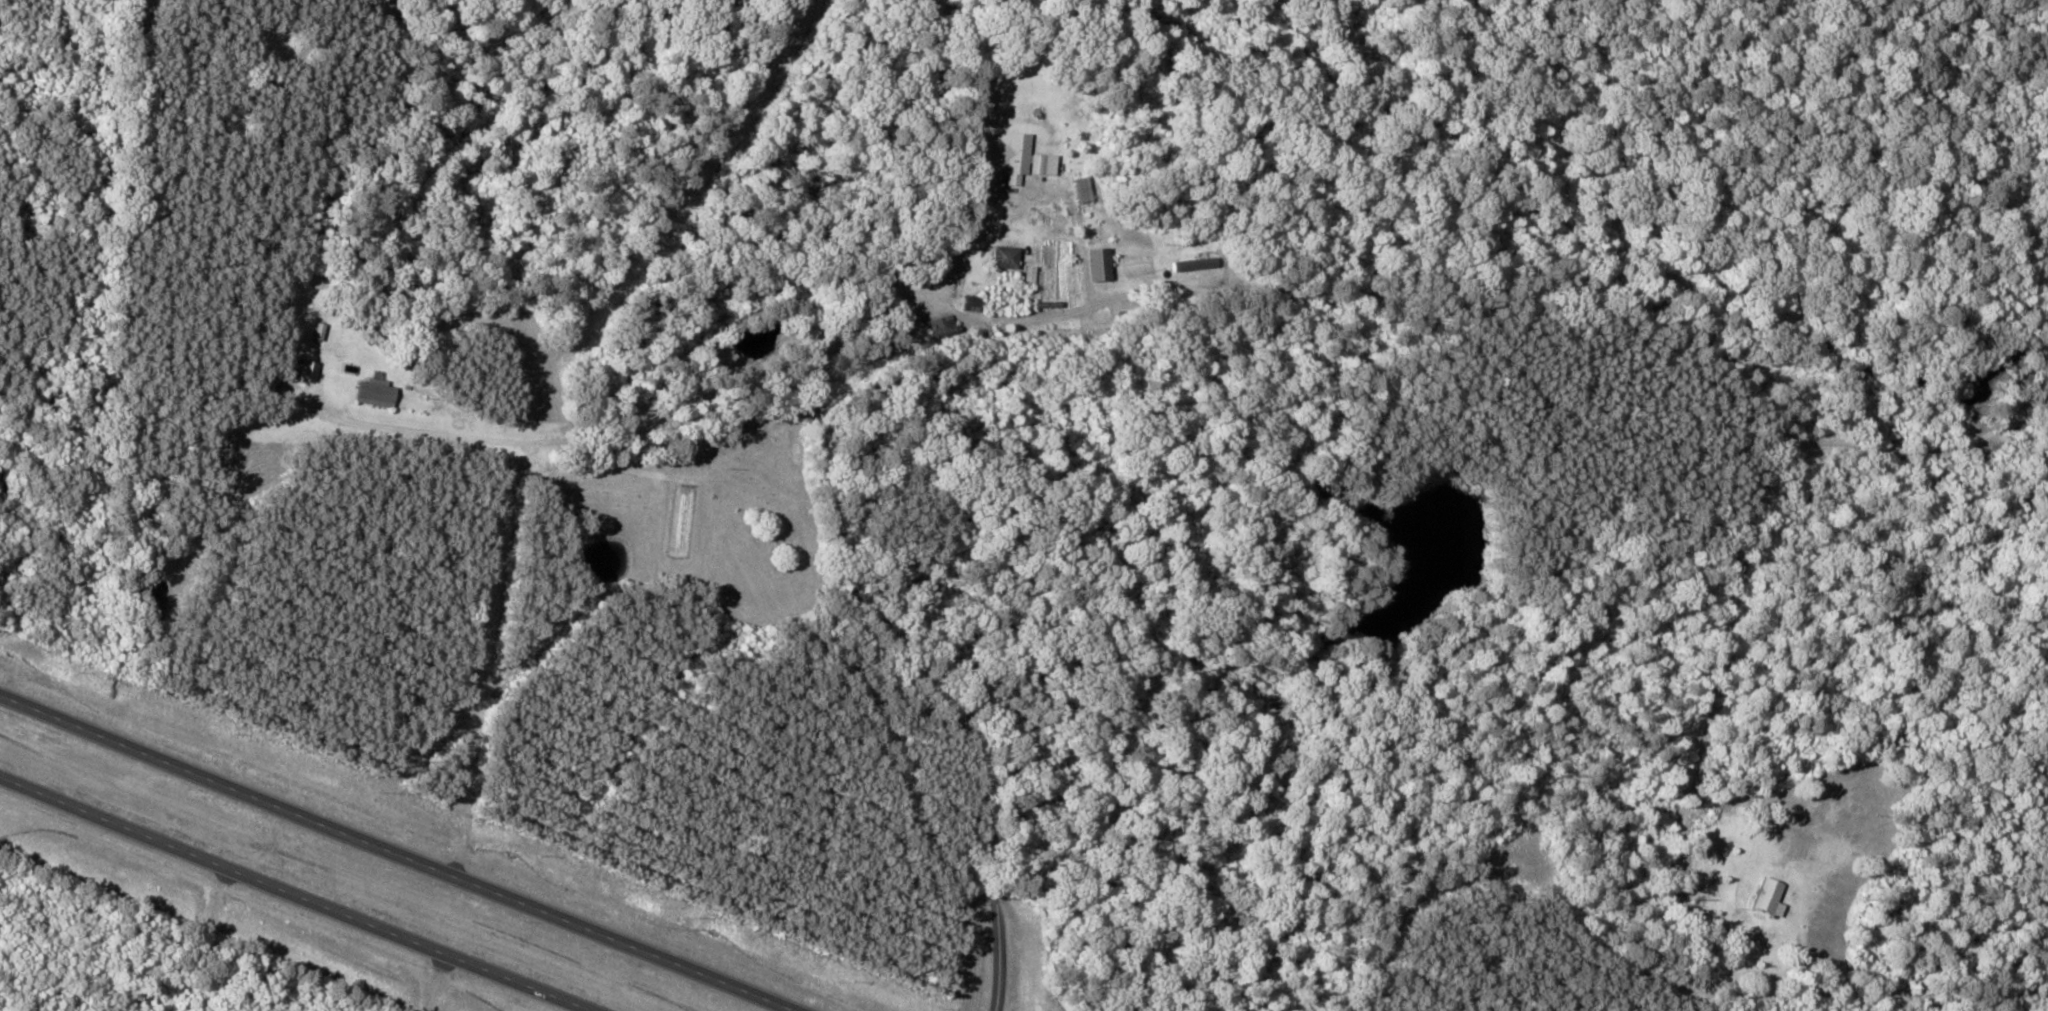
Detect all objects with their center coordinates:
building: (1027, 160)
building: (1085, 190)
building: (1008, 257)
building: (1198, 263)
building: (1103, 264)
building: (1032, 274)
building: (975, 304)
building: (943, 328)
building: (306, 370)
building: (377, 393)
road: (837, 523)
road: (1745, 623)
road: (397, 853)
road: (294, 894)
building: (1770, 896)

